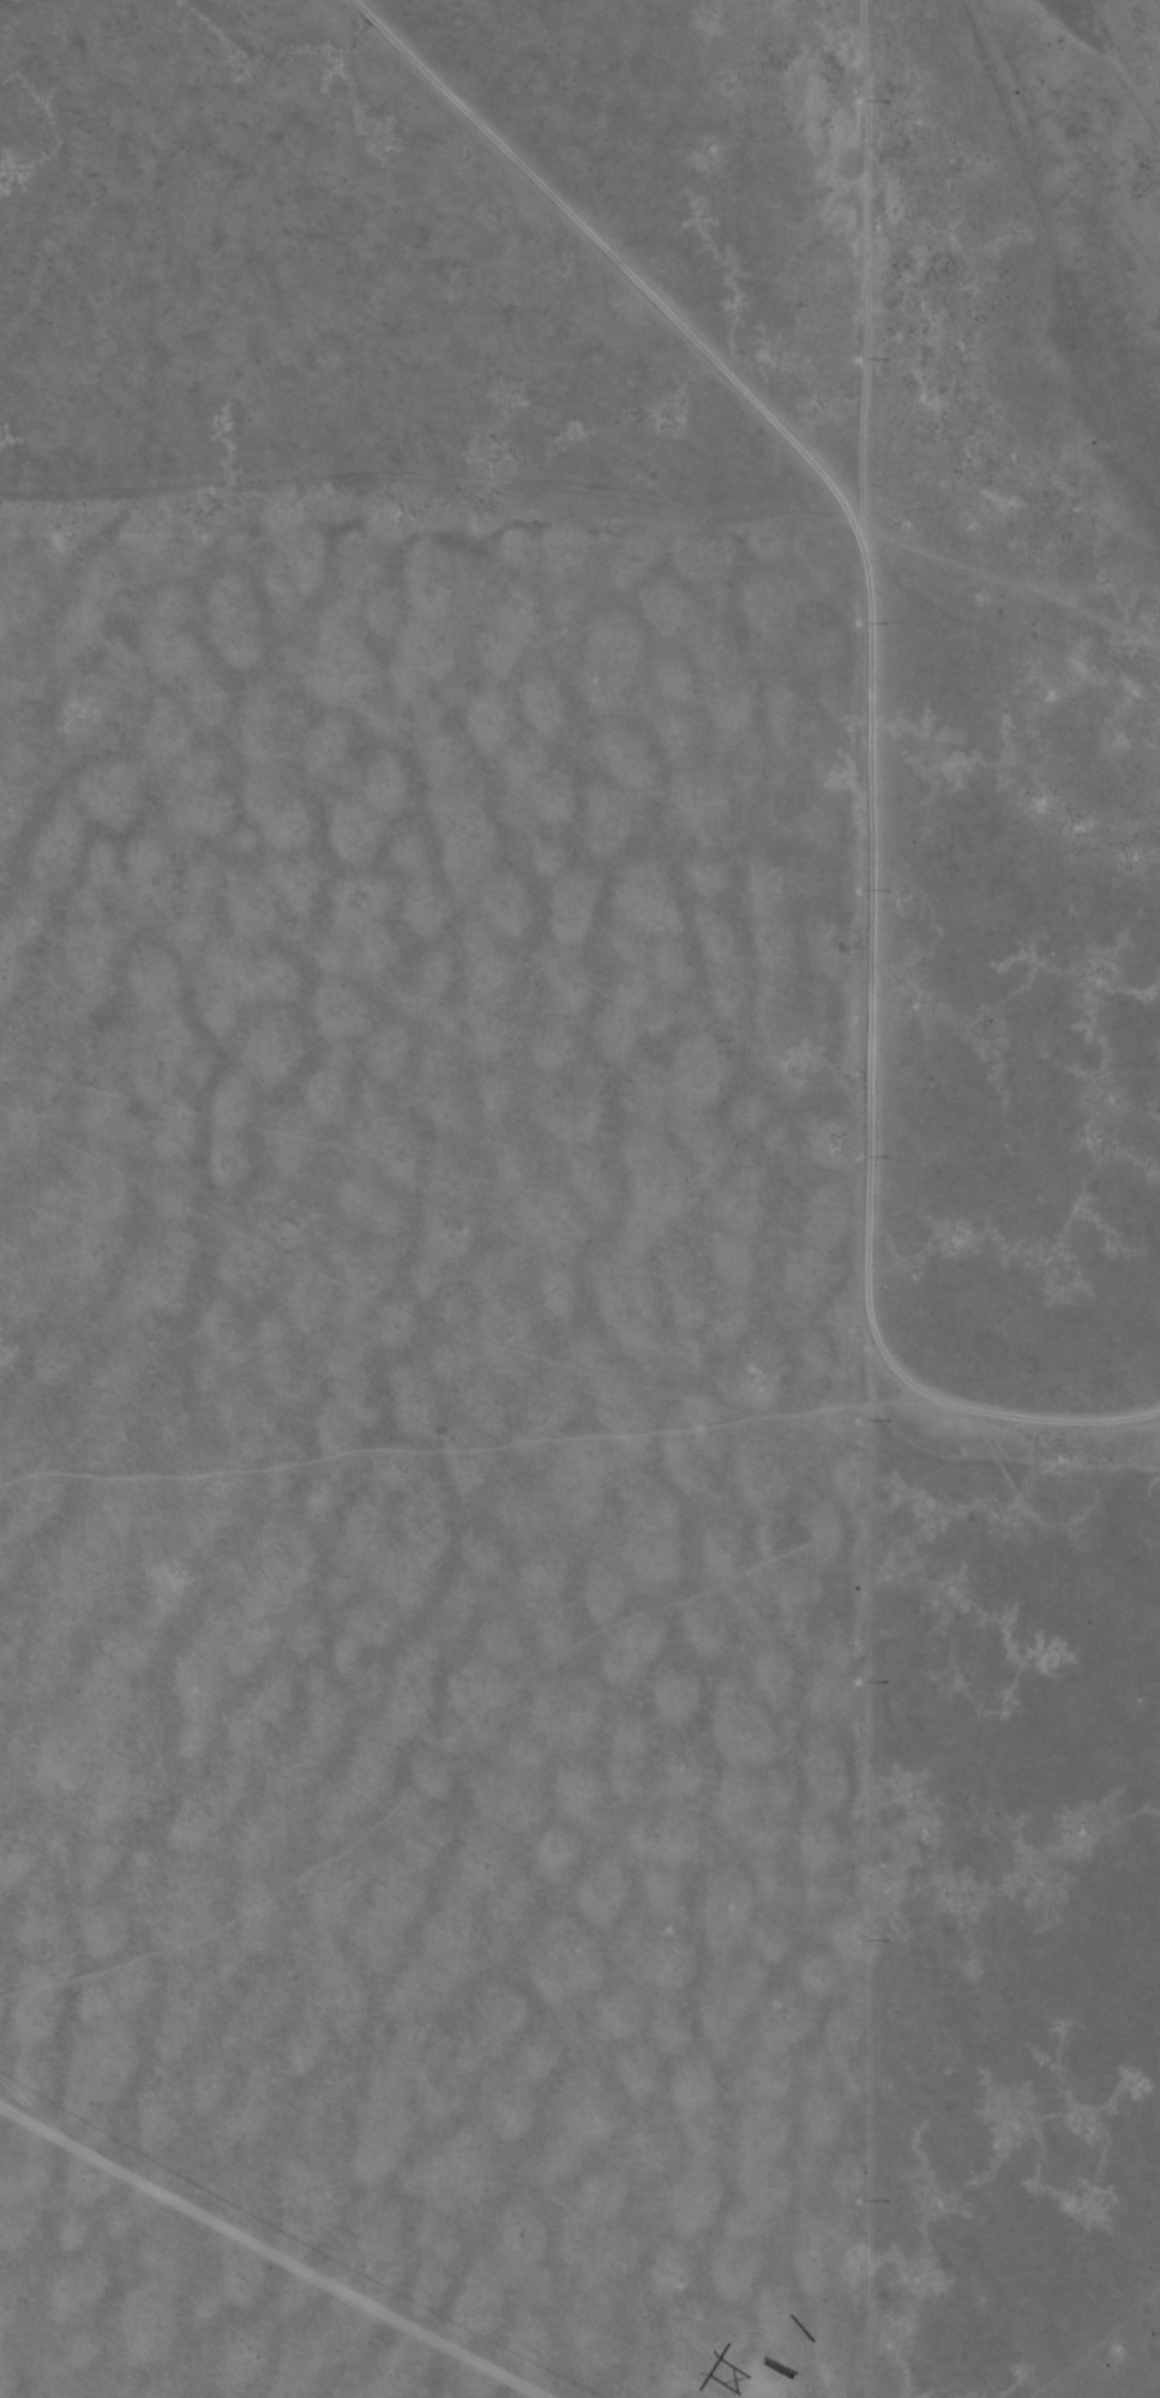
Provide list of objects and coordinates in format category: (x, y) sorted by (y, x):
road: (623, 211)
road: (1039, 218)
road: (423, 405)
road: (858, 1045)

